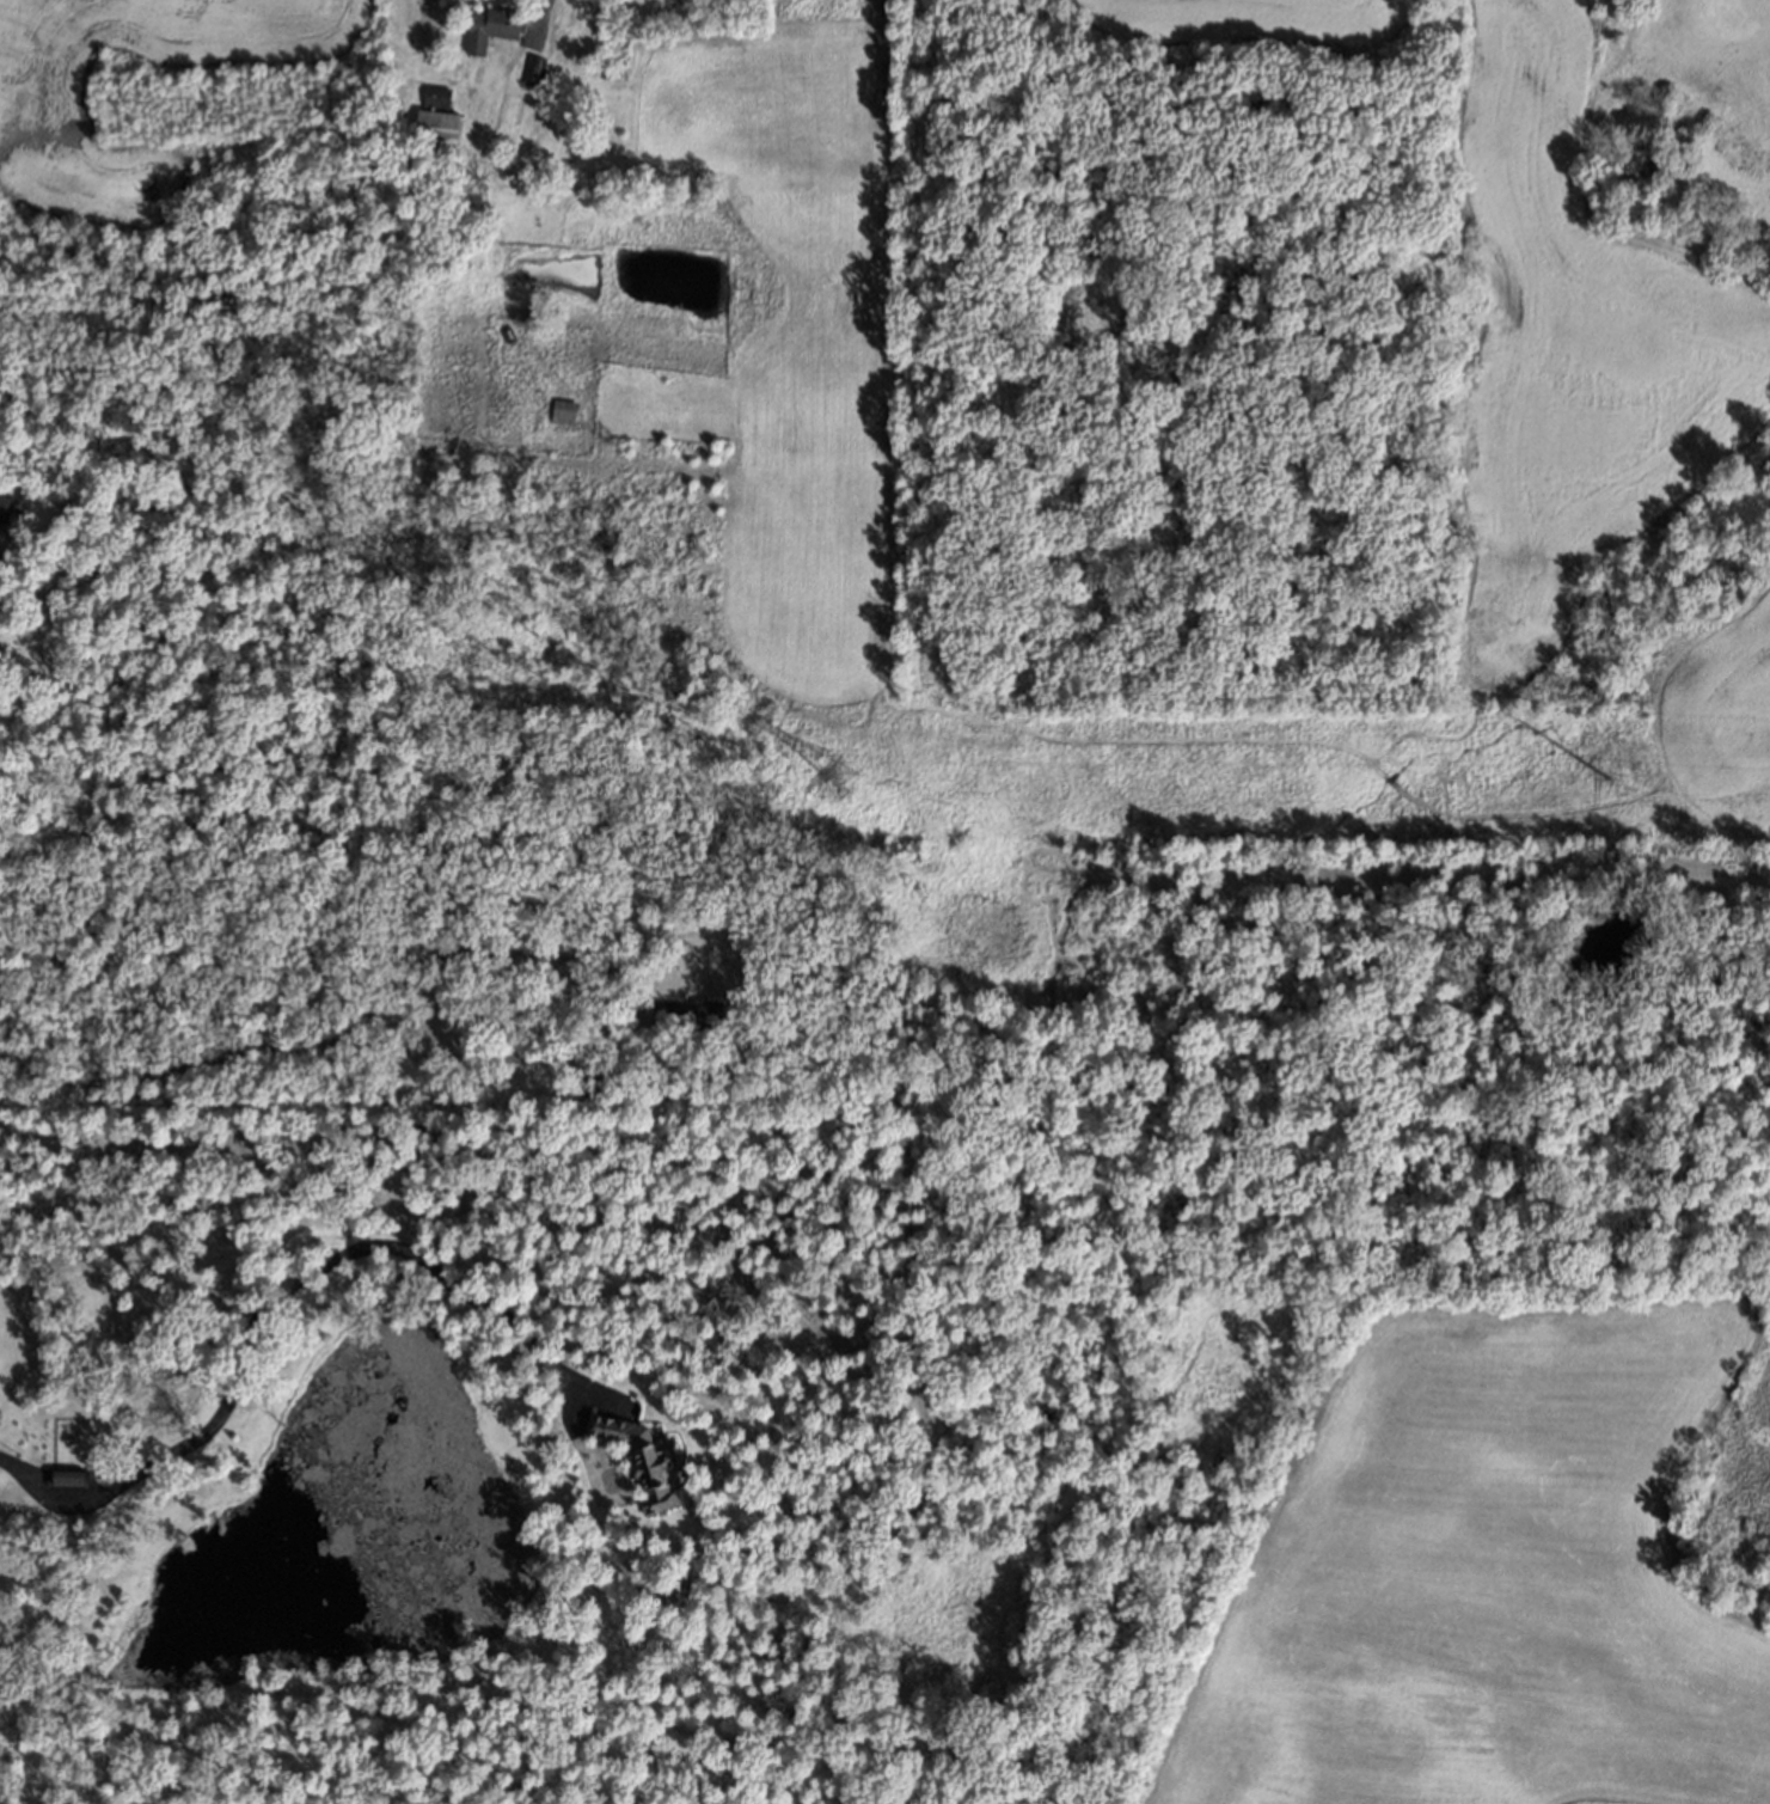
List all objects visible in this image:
road: (539, 17)
building: (489, 30)
building: (604, 69)
building: (531, 73)
building: (434, 97)
building: (433, 129)
building: (503, 332)
building: (562, 414)
building: (7, 506)
building: (4, 606)
power tower: (839, 789)
power tower: (1633, 790)
building: (684, 1013)
building: (589, 1080)
road: (261, 1305)
building: (641, 1456)
building: (61, 1476)

